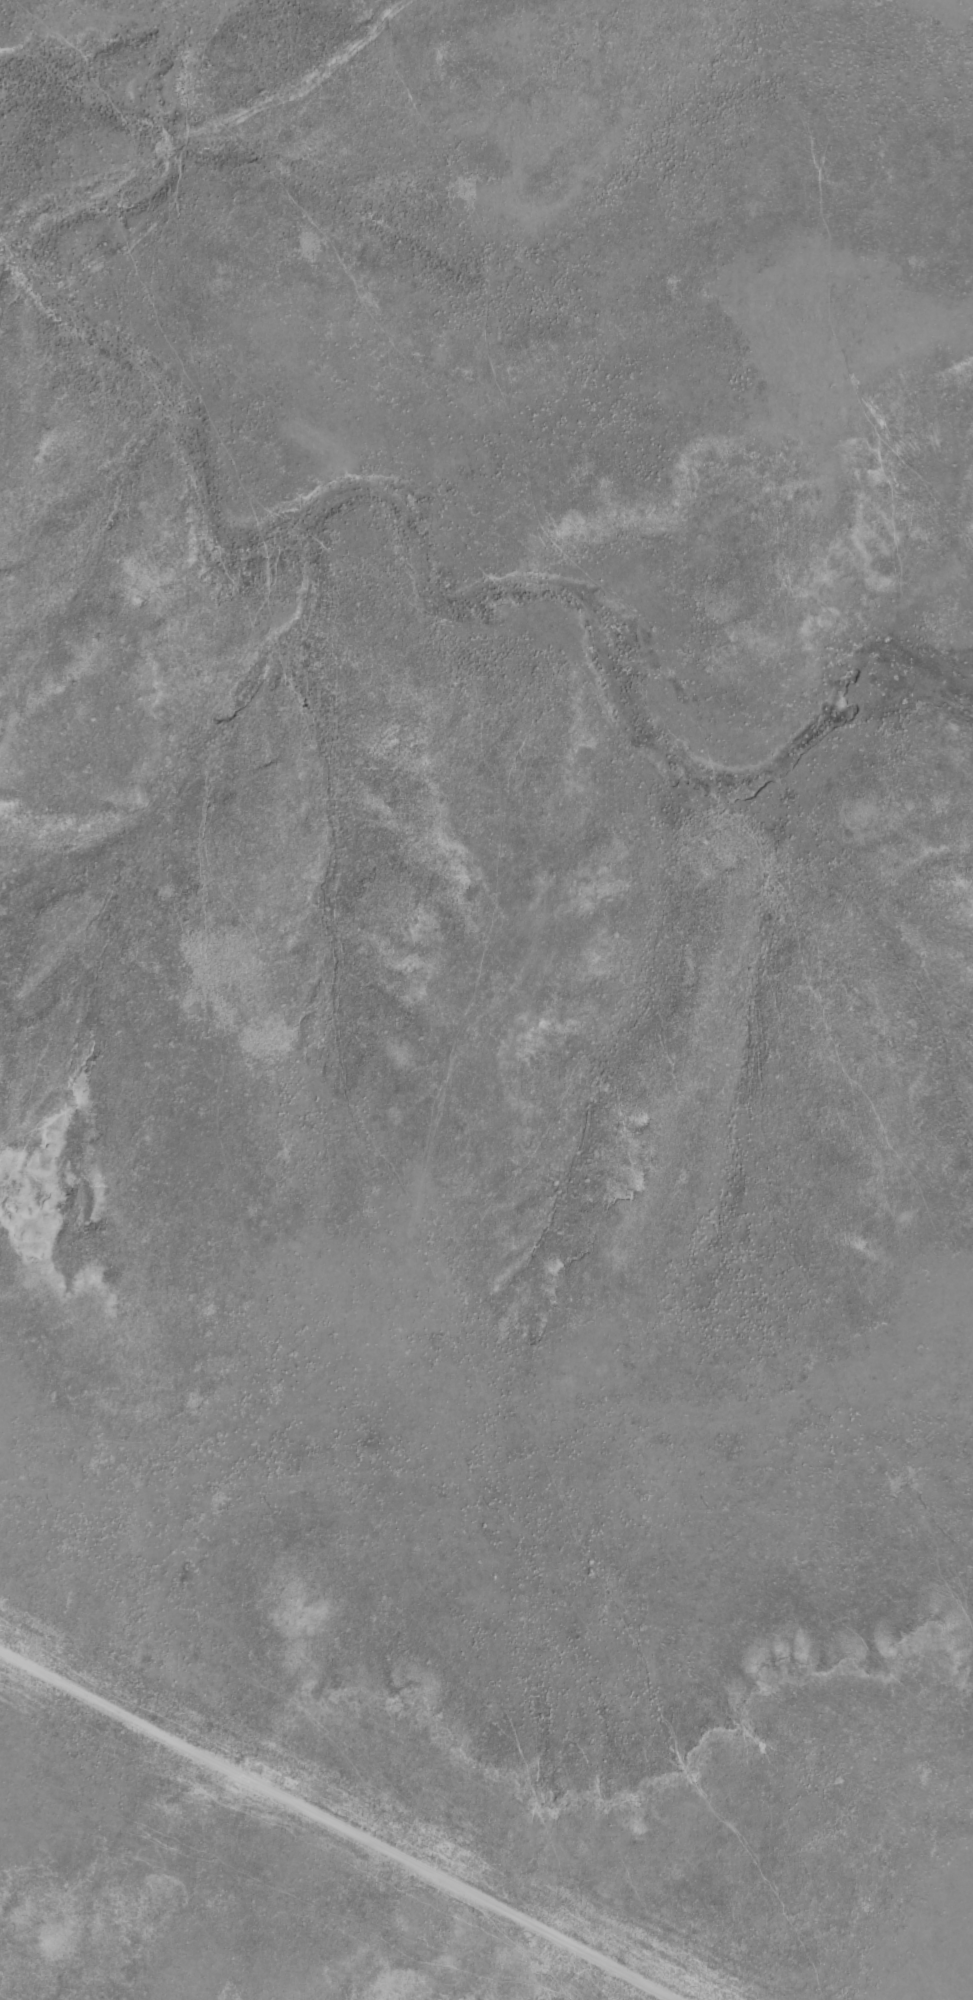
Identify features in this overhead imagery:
road: (337, 1830)

